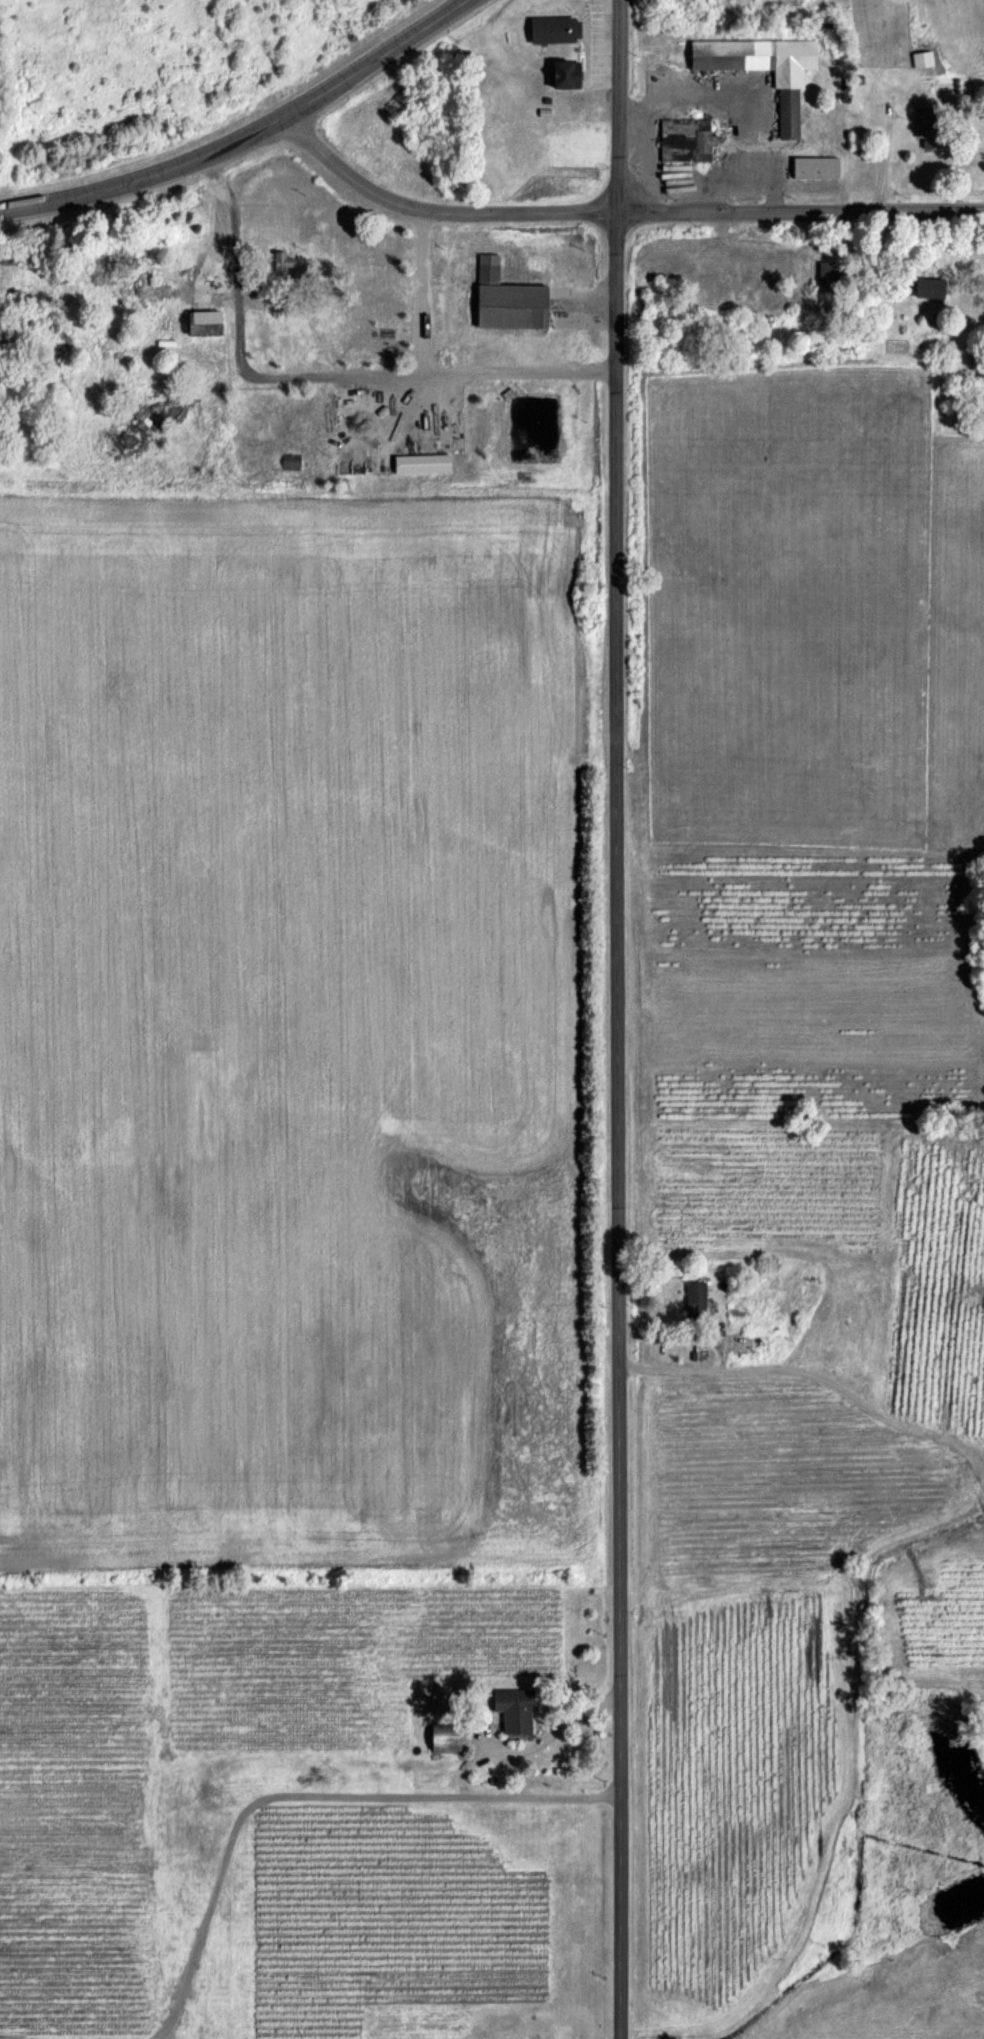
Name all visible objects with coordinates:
building: (552, 29)
building: (921, 58)
building: (761, 68)
building: (560, 74)
raceway: (187, 125)
road: (243, 136)
building: (684, 140)
building: (812, 166)
road: (432, 210)
road: (800, 211)
building: (278, 263)
building: (823, 272)
building: (926, 287)
building: (505, 299)
building: (200, 323)
road: (318, 373)
building: (419, 463)
road: (613, 1019)
building: (693, 1297)
road: (715, 1351)
building: (510, 1709)
building: (442, 1739)

